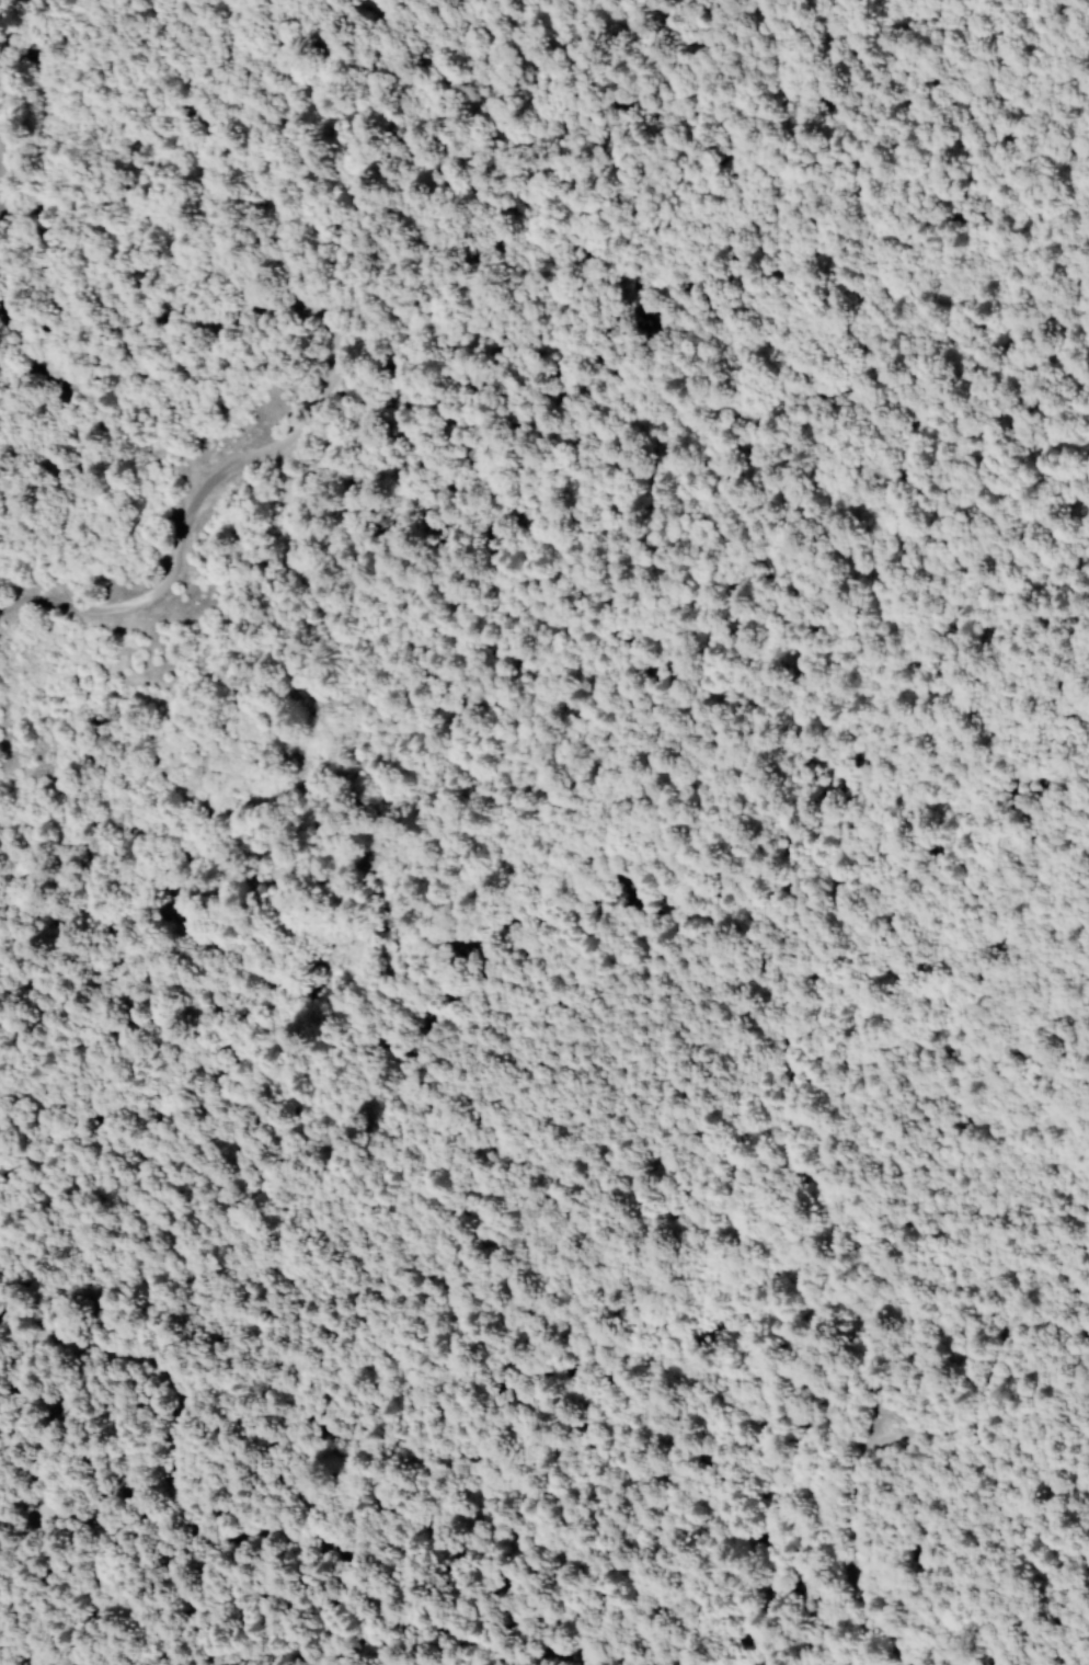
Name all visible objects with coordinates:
road: (5, 169)
road: (352, 369)

